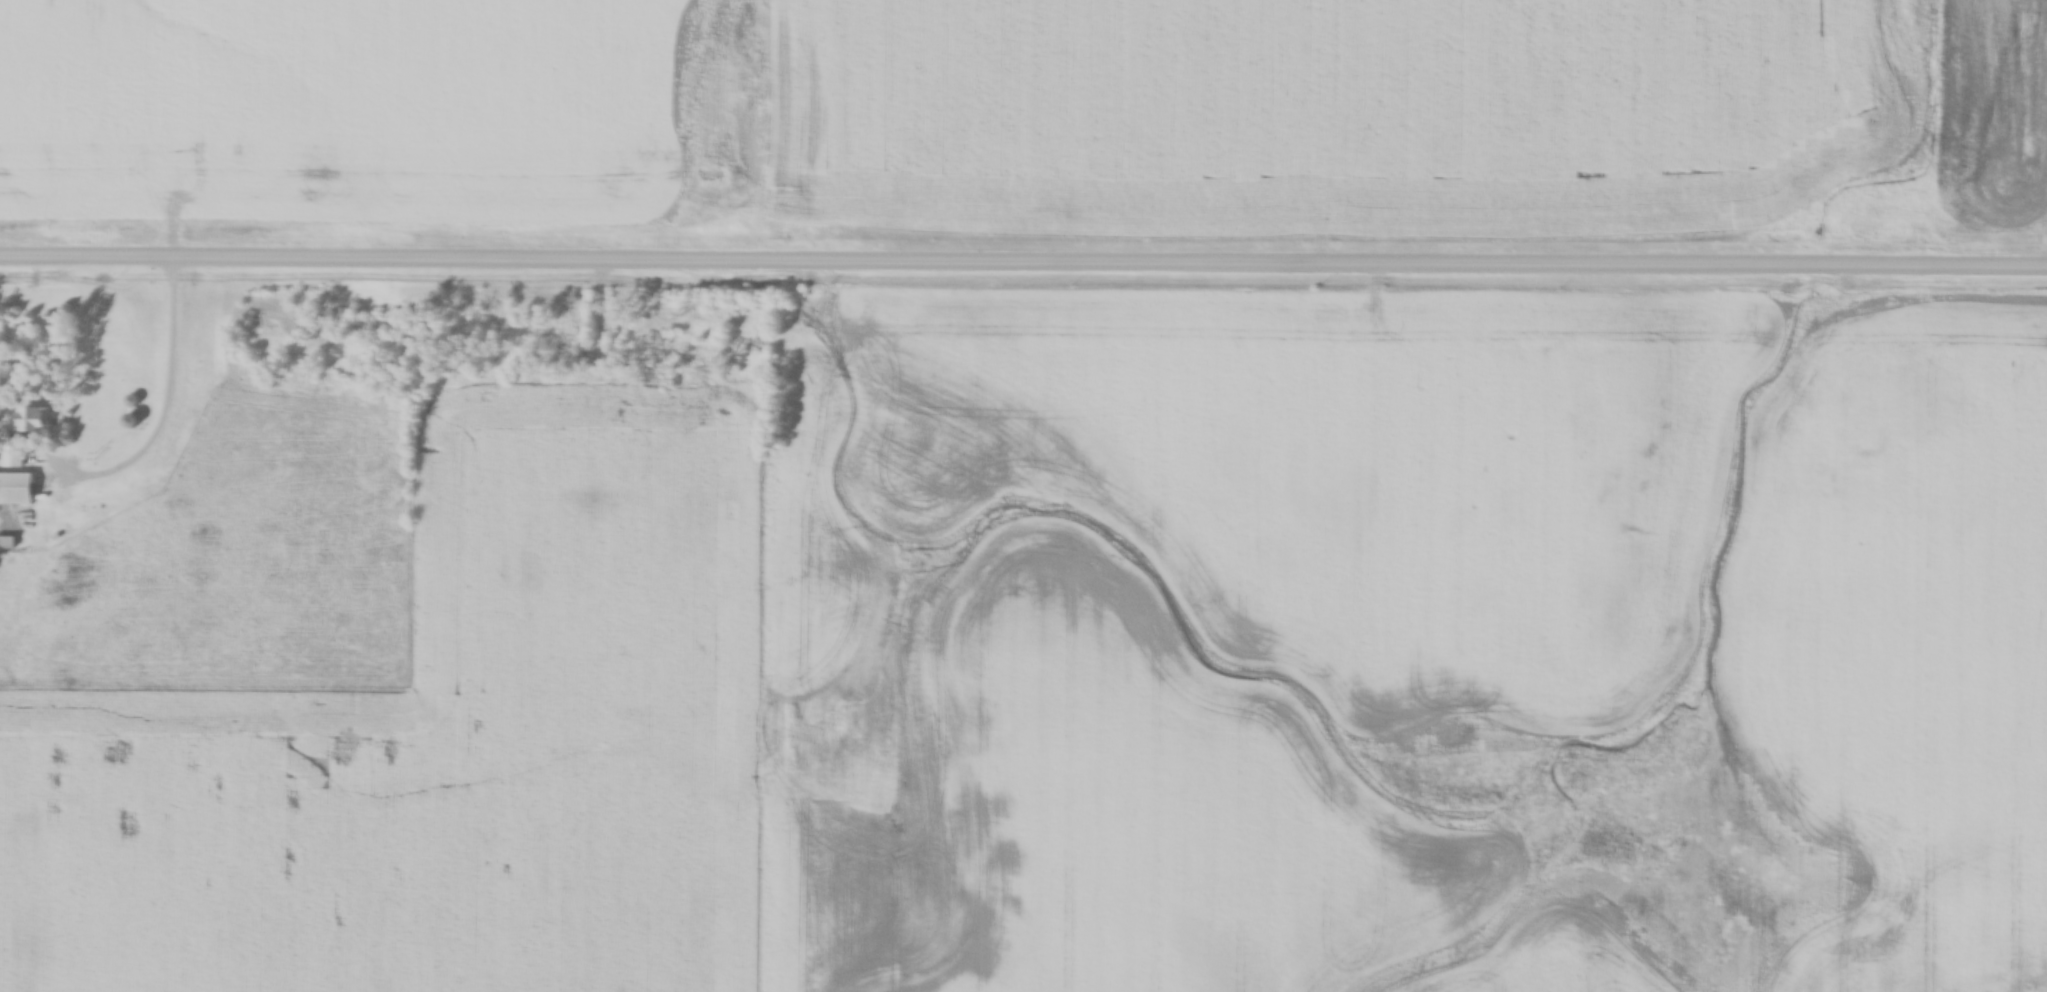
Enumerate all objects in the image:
road: (1023, 257)
building: (33, 420)
building: (11, 458)
building: (16, 489)
building: (100, 512)
building: (6, 543)

